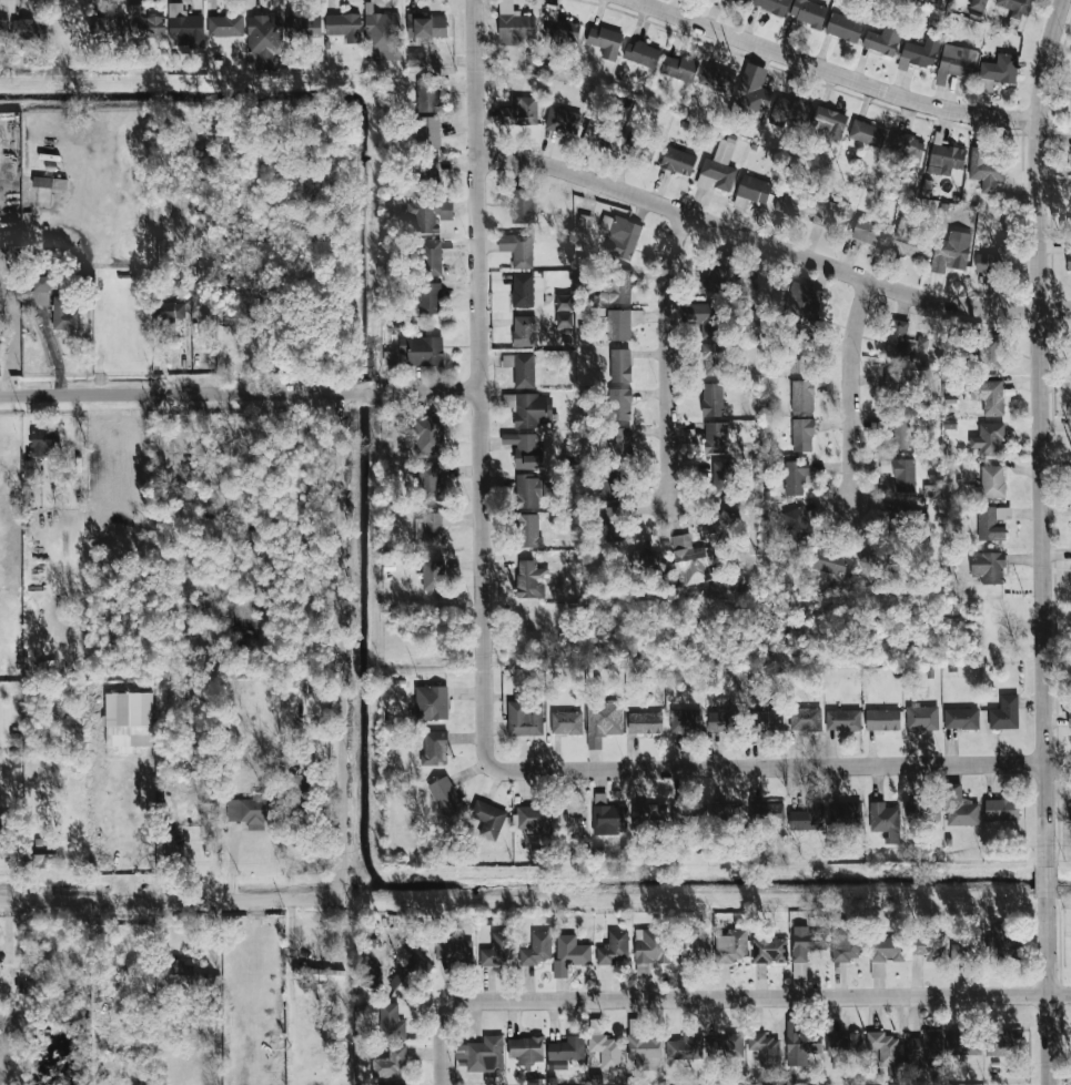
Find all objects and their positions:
building: (742, 1)
building: (978, 4)
building: (772, 6)
building: (1016, 8)
building: (808, 12)
building: (515, 24)
building: (560, 24)
building: (128, 26)
building: (225, 26)
building: (344, 26)
building: (426, 26)
building: (303, 27)
building: (185, 28)
building: (843, 28)
building: (3, 29)
building: (30, 29)
building: (382, 37)
building: (264, 38)
building: (605, 41)
building: (882, 41)
building: (641, 53)
building: (919, 54)
building: (416, 59)
building: (956, 62)
building: (999, 71)
building: (694, 72)
road: (833, 72)
building: (752, 90)
building: (427, 95)
building: (521, 111)
building: (789, 111)
building: (563, 121)
building: (828, 122)
building: (428, 132)
building: (867, 133)
building: (606, 140)
building: (909, 149)
building: (646, 151)
building: (946, 159)
building: (678, 161)
building: (1070, 165)
building: (986, 169)
building: (717, 170)
building: (428, 172)
building: (49, 182)
building: (754, 190)
building: (792, 203)
building: (523, 206)
building: (430, 214)
building: (832, 216)
building: (869, 232)
building: (620, 236)
building: (907, 237)
road: (770, 245)
building: (517, 249)
building: (952, 253)
building: (1069, 255)
building: (431, 258)
building: (996, 258)
building: (723, 270)
building: (269, 280)
building: (617, 288)
building: (523, 291)
building: (40, 292)
building: (428, 297)
building: (802, 302)
building: (169, 312)
building: (699, 313)
building: (65, 314)
building: (233, 318)
building: (564, 320)
building: (618, 325)
building: (524, 331)
road: (14, 332)
building: (902, 342)
building: (422, 351)
road: (53, 353)
building: (990, 353)
building: (390, 357)
road: (666, 357)
building: (800, 357)
building: (711, 359)
road: (183, 361)
building: (620, 365)
building: (522, 369)
building: (896, 383)
road: (849, 388)
road: (240, 393)
road: (479, 394)
building: (802, 396)
building: (988, 396)
building: (713, 399)
building: (619, 404)
building: (529, 409)
building: (899, 430)
road: (1041, 430)
building: (428, 435)
building: (802, 435)
building: (716, 437)
building: (989, 439)
building: (619, 440)
building: (40, 443)
building: (524, 449)
building: (28, 468)
building: (900, 474)
building: (721, 477)
building: (795, 477)
building: (430, 481)
building: (992, 481)
building: (612, 484)
building: (546, 487)
building: (527, 491)
building: (992, 523)
building: (614, 524)
building: (798, 524)
building: (430, 527)
building: (528, 530)
building: (689, 560)
building: (647, 561)
building: (830, 561)
building: (875, 564)
building: (988, 567)
building: (432, 575)
building: (531, 580)
road: (347, 645)
building: (432, 702)
building: (1004, 713)
building: (525, 717)
building: (921, 717)
building: (960, 718)
building: (1069, 718)
building: (805, 719)
building: (882, 719)
building: (128, 720)
building: (603, 720)
building: (685, 720)
building: (765, 720)
building: (842, 720)
building: (719, 721)
building: (566, 722)
building: (645, 723)
building: (433, 746)
road: (792, 765)
building: (299, 790)
building: (445, 795)
building: (960, 807)
building: (251, 809)
building: (1001, 809)
building: (766, 812)
building: (923, 812)
building: (648, 813)
building: (845, 813)
building: (1070, 814)
building: (606, 815)
building: (726, 815)
building: (529, 817)
building: (807, 818)
building: (487, 819)
building: (885, 820)
building: (1, 824)
building: (173, 849)
building: (43, 860)
road: (1045, 882)
road: (171, 899)
building: (996, 936)
building: (805, 942)
building: (846, 944)
building: (730, 945)
road: (1045, 945)
building: (614, 947)
building: (649, 947)
building: (923, 947)
building: (453, 949)
building: (497, 949)
building: (536, 949)
building: (697, 949)
building: (886, 949)
building: (769, 950)
building: (959, 951)
building: (569, 953)
building: (371, 973)
building: (407, 973)
building: (319, 974)
road: (1059, 993)
road: (735, 996)
building: (390, 1023)
road: (1048, 1040)
building: (1002, 1042)
building: (799, 1043)
building: (725, 1045)
building: (685, 1046)
building: (842, 1046)
building: (764, 1047)
building: (605, 1049)
building: (644, 1049)
building: (885, 1049)
building: (525, 1051)
building: (562, 1052)
building: (482, 1054)
road: (445, 1056)
building: (388, 1062)
building: (392, 1084)

